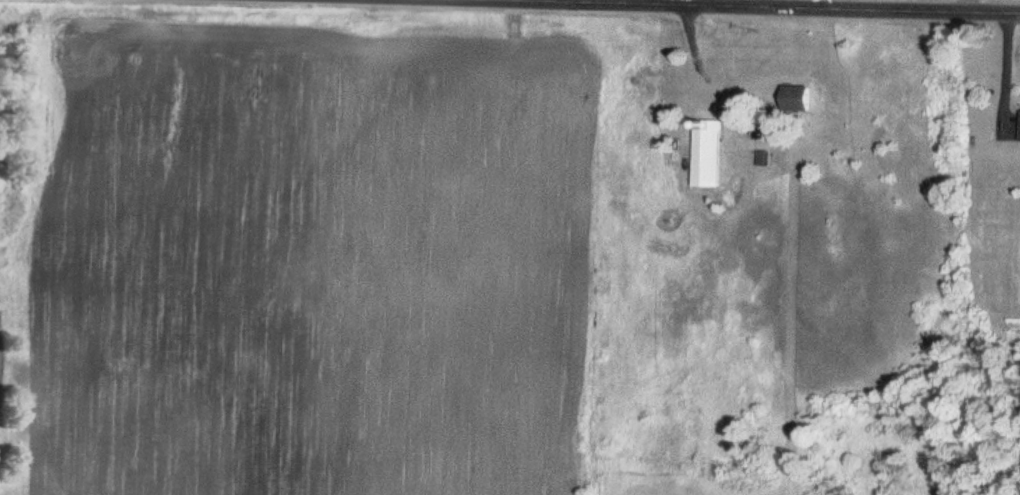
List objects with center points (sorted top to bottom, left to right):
road: (752, 7)
building: (795, 98)
building: (1019, 126)
building: (707, 153)

